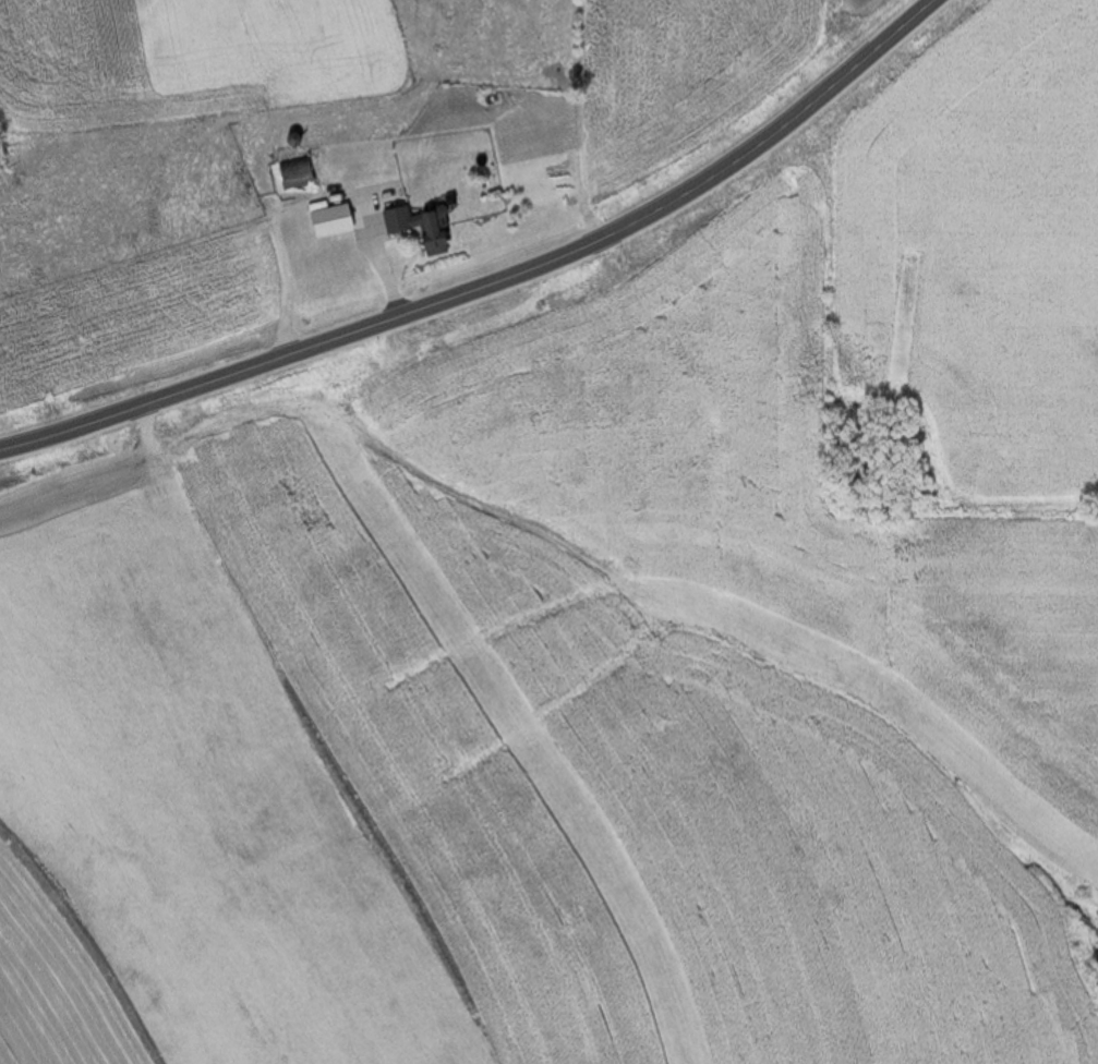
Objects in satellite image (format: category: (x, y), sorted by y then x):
building: (351, 131)
building: (386, 173)
building: (291, 174)
building: (317, 226)
building: (417, 228)
road: (474, 286)

